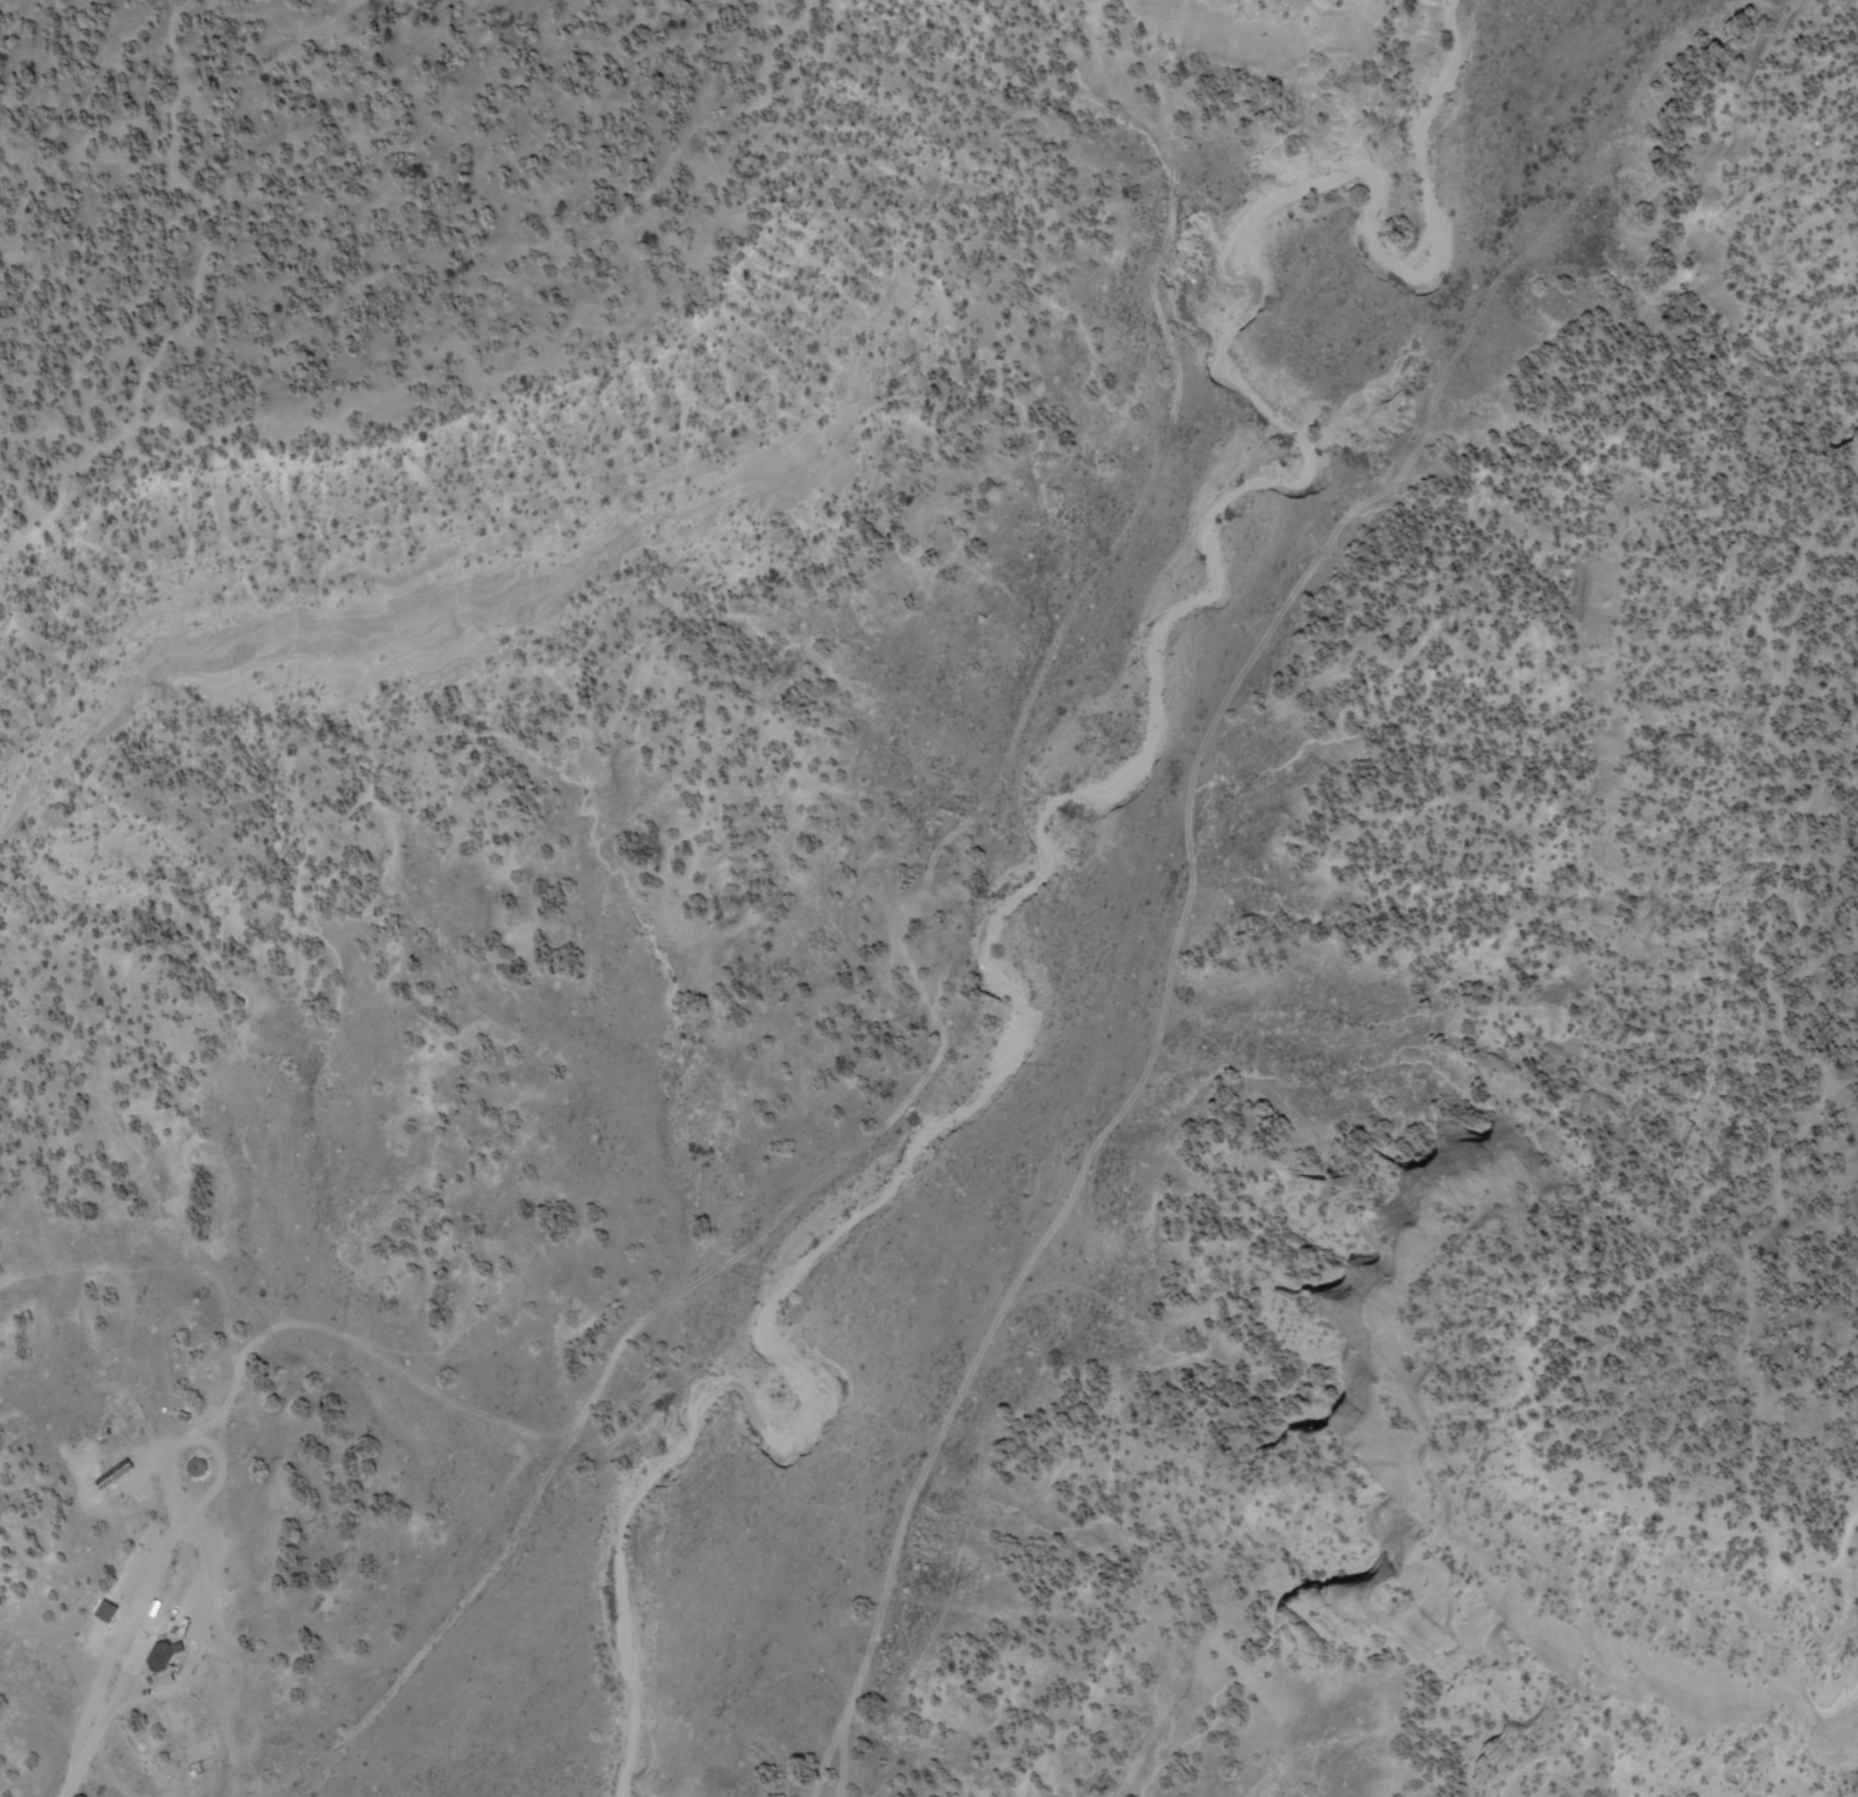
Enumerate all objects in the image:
road: (887, 965)

